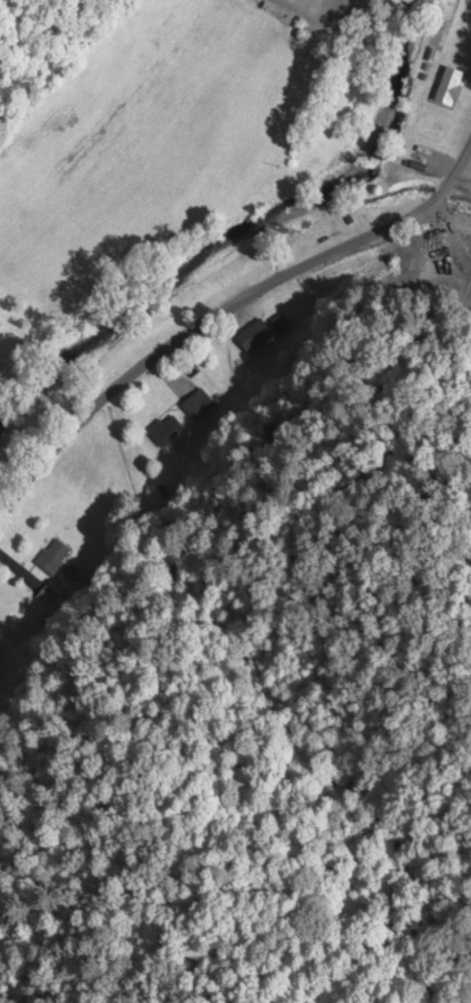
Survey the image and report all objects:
building: (448, 82)
building: (395, 159)
river: (238, 227)
building: (440, 234)
building: (253, 334)
road: (240, 376)
building: (196, 402)
building: (164, 427)
building: (52, 554)
building: (46, 593)

